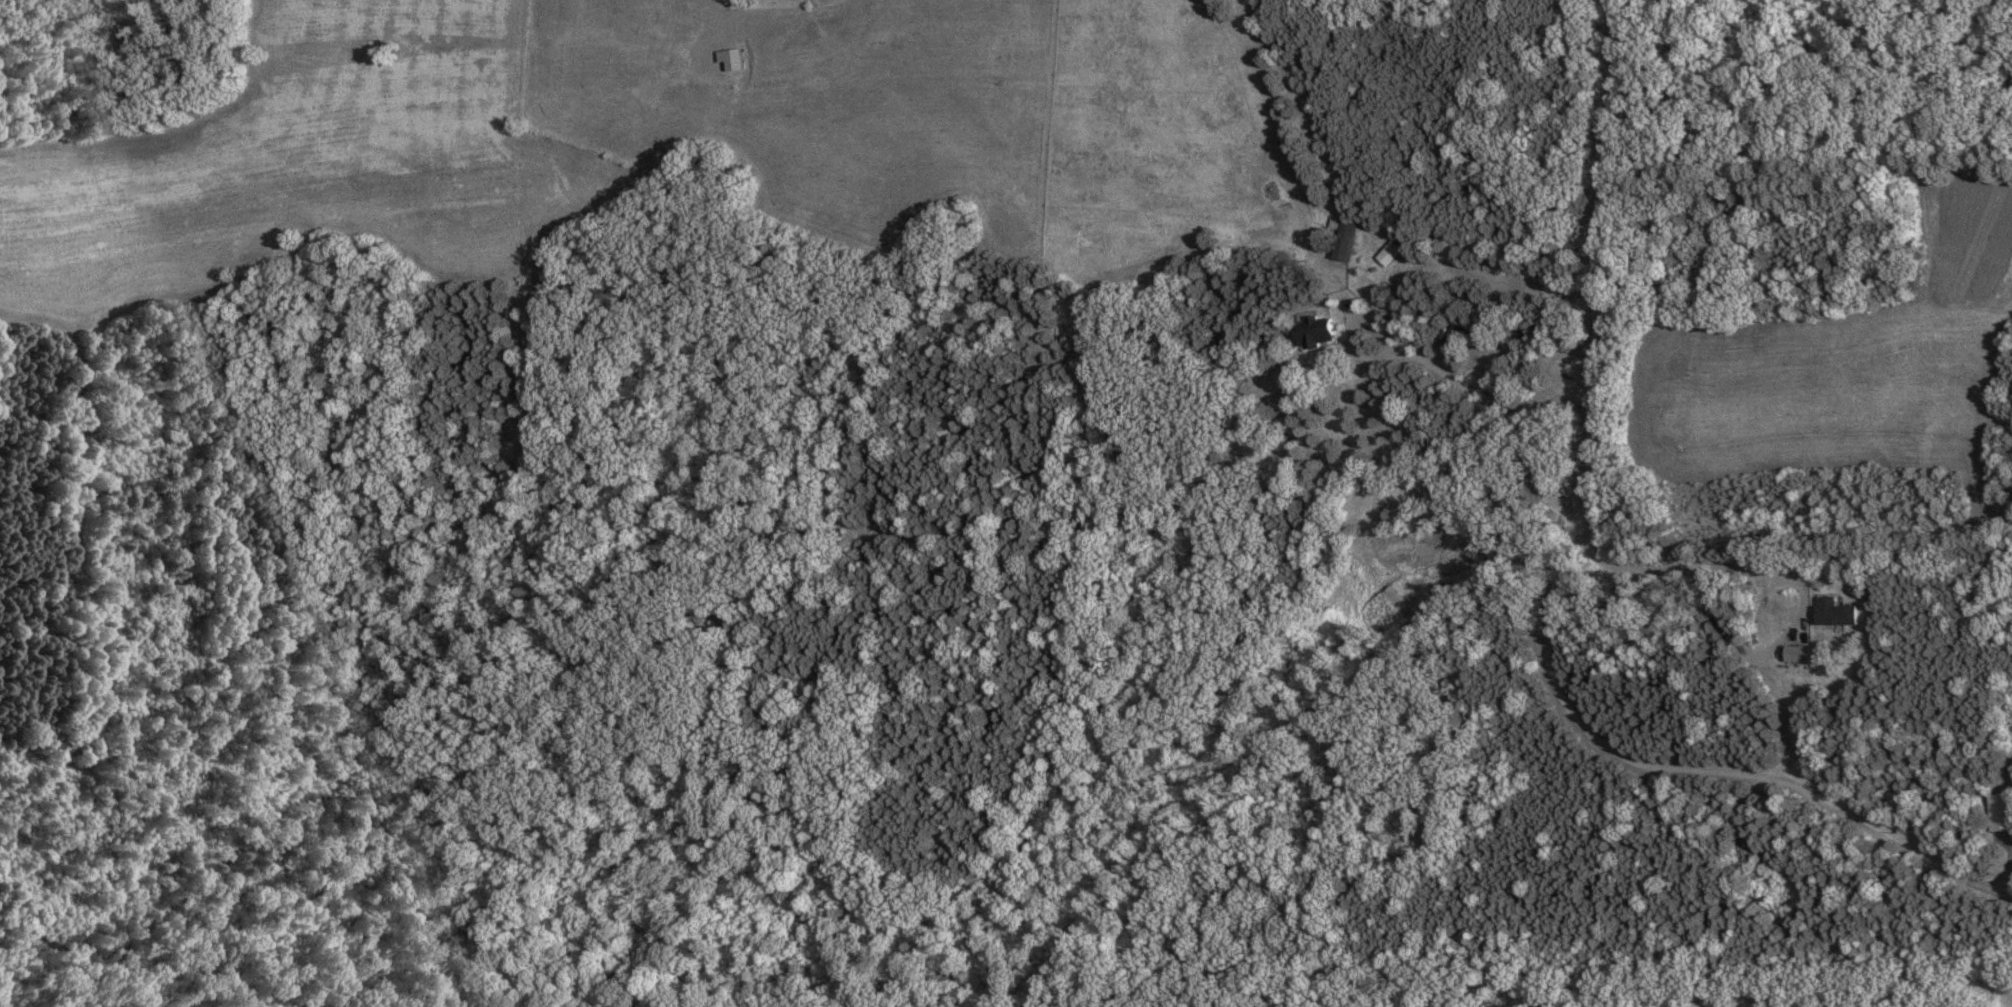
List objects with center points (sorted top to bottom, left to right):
building: (729, 59)
building: (1343, 236)
building: (1316, 331)
road: (1459, 393)
road: (1712, 563)
road: (1565, 580)
building: (1834, 611)
building: (1796, 653)
building: (2000, 811)

